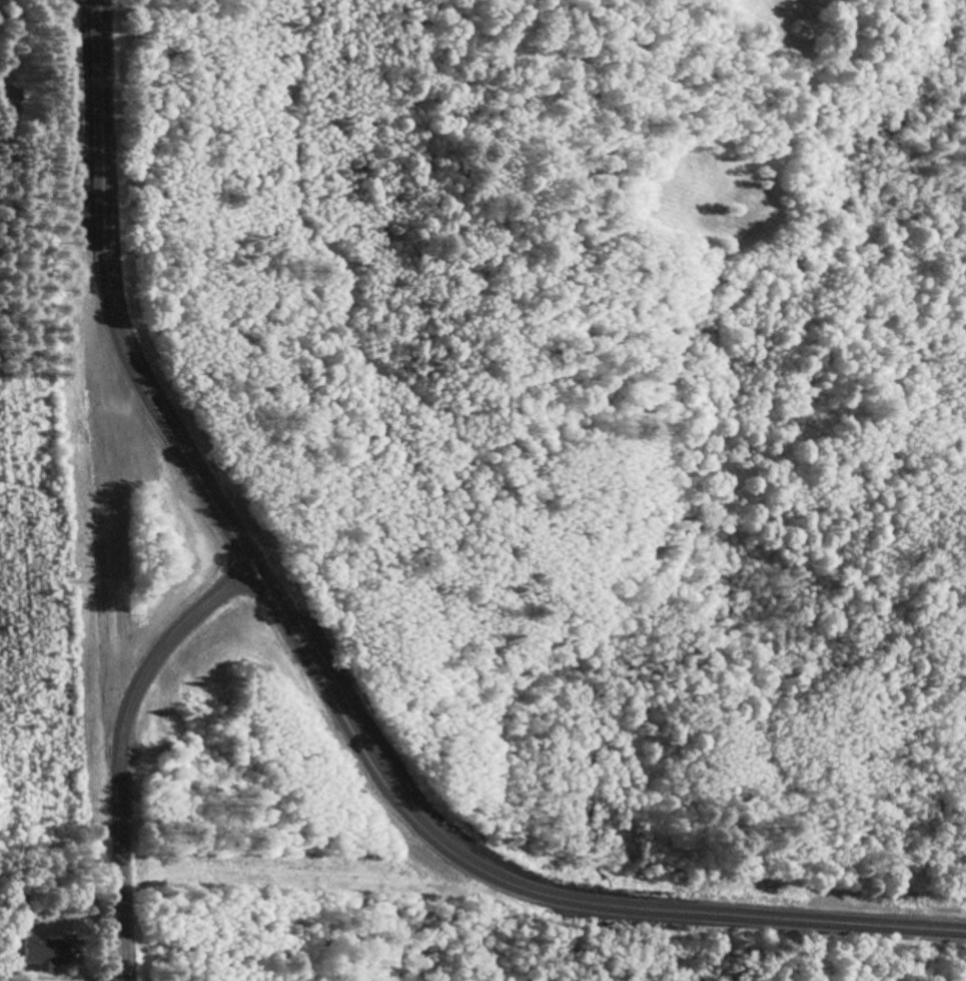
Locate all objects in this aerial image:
road: (84, 11)
road: (112, 612)
road: (325, 680)
building: (48, 951)

